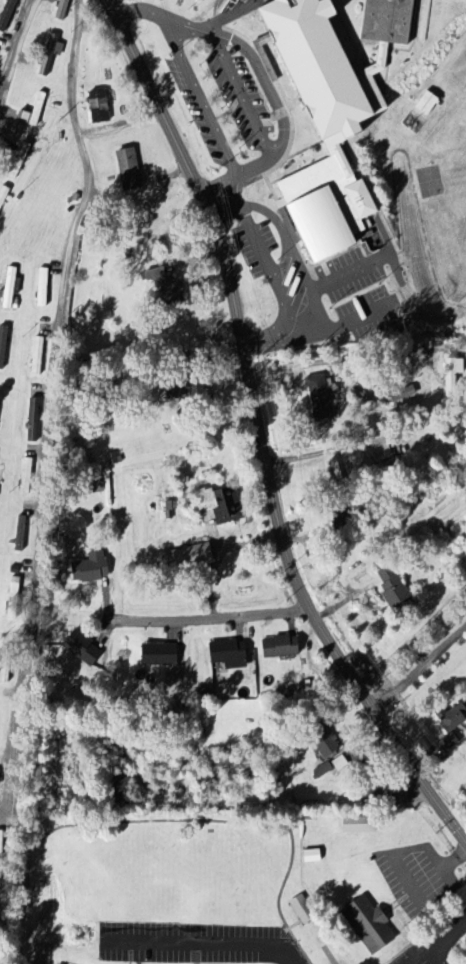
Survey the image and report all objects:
building: (62, 9)
road: (151, 11)
building: (8, 15)
road: (215, 20)
building: (390, 21)
road: (16, 47)
road: (239, 89)
road: (274, 95)
building: (99, 107)
road: (211, 119)
building: (329, 126)
building: (131, 170)
road: (232, 192)
building: (3, 195)
road: (223, 209)
road: (284, 233)
road: (254, 237)
road: (330, 280)
building: (10, 287)
building: (173, 287)
road: (283, 319)
road: (332, 327)
building: (3, 345)
building: (37, 355)
road: (366, 355)
building: (454, 375)
building: (322, 396)
road: (50, 405)
building: (33, 419)
road: (260, 432)
building: (339, 468)
building: (221, 505)
building: (341, 520)
building: (20, 533)
building: (191, 554)
building: (91, 566)
building: (394, 586)
building: (14, 598)
road: (203, 616)
building: (283, 646)
building: (85, 648)
building: (231, 653)
building: (162, 654)
building: (6, 664)
road: (421, 667)
building: (454, 722)
building: (328, 750)
building: (324, 769)
road: (171, 819)
building: (361, 824)
building: (1, 848)
building: (312, 856)
park: (157, 890)
building: (303, 909)
building: (370, 925)
road: (205, 940)
road: (435, 940)
park: (437, 942)
road: (140, 952)
road: (437, 954)

